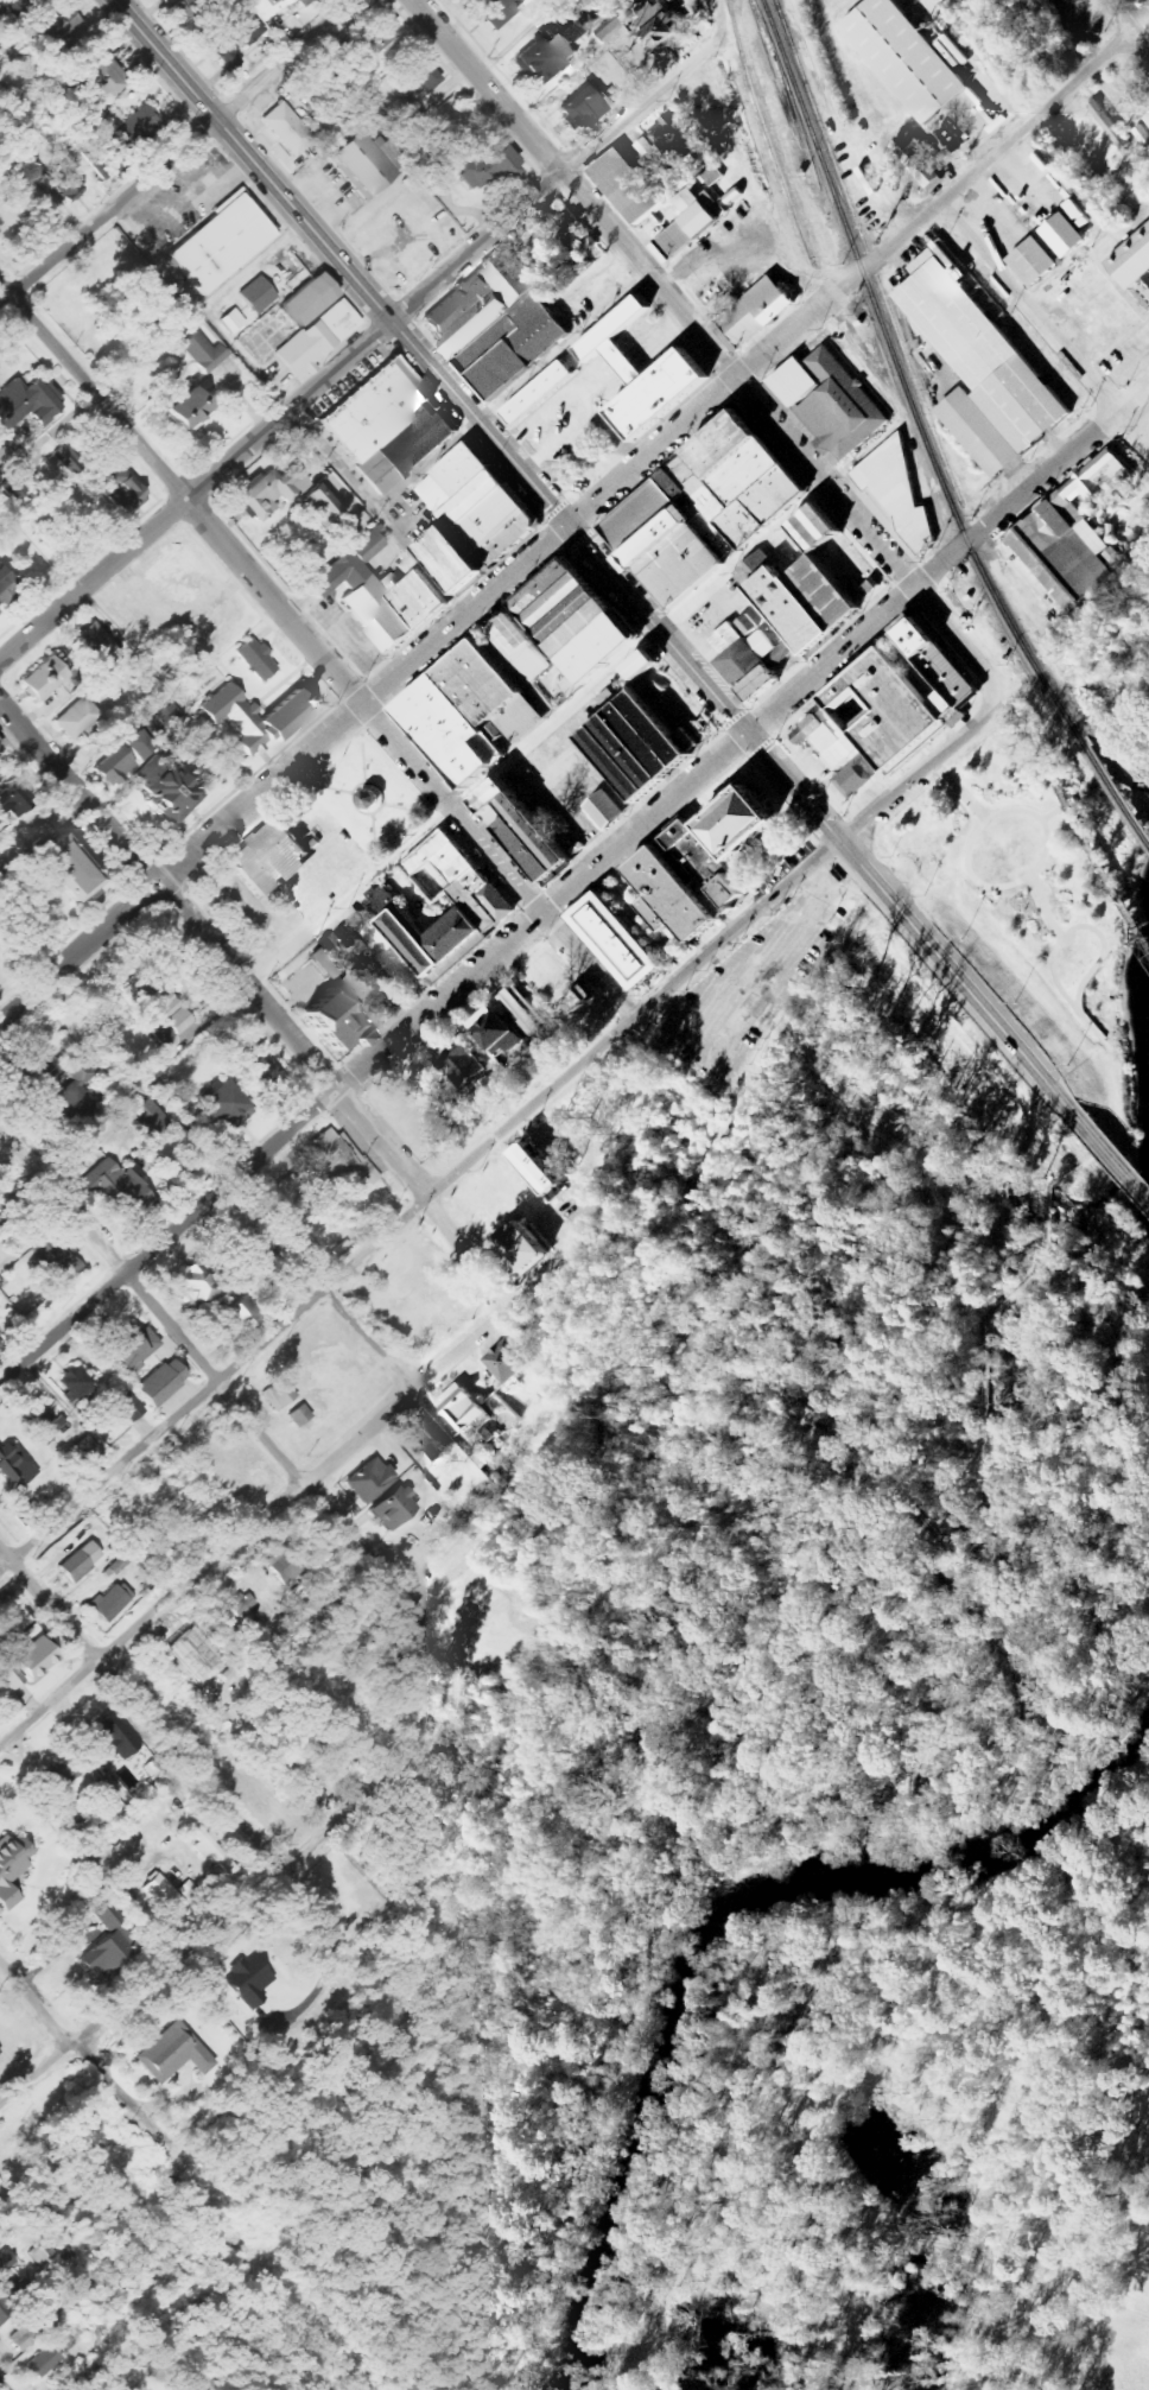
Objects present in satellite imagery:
building: (269, 7)
building: (6, 8)
building: (500, 11)
road: (719, 18)
road: (1128, 27)
building: (660, 28)
building: (56, 30)
building: (582, 33)
building: (372, 37)
building: (239, 39)
building: (546, 57)
building: (901, 57)
road: (286, 59)
building: (103, 78)
road: (488, 85)
building: (583, 109)
building: (1148, 119)
road: (221, 122)
building: (1107, 122)
building: (285, 129)
railway: (764, 133)
building: (1143, 134)
building: (674, 139)
building: (119, 145)
building: (919, 159)
building: (356, 161)
building: (483, 169)
building: (712, 175)
road: (556, 177)
building: (66, 186)
building: (622, 186)
road: (109, 214)
building: (688, 224)
building: (1066, 235)
building: (218, 241)
railway: (866, 252)
building: (1131, 256)
building: (1029, 261)
road: (850, 280)
building: (258, 294)
building: (310, 299)
road: (1096, 302)
road: (1028, 308)
parking lot: (1088, 308)
road: (199, 310)
building: (753, 310)
building: (336, 319)
building: (233, 321)
building: (493, 323)
building: (303, 349)
building: (204, 353)
road: (1104, 357)
parking lot: (1129, 357)
road: (1136, 361)
building: (977, 368)
building: (637, 374)
railway: (900, 379)
road: (737, 380)
road: (512, 391)
road: (93, 392)
building: (533, 393)
building: (26, 404)
building: (826, 404)
road: (1124, 407)
building: (189, 411)
building: (386, 426)
building: (64, 463)
building: (268, 489)
road: (537, 490)
building: (123, 493)
road: (195, 493)
building: (893, 496)
building: (315, 506)
building: (698, 509)
road: (379, 511)
building: (466, 519)
traffic signals: (567, 526)
building: (808, 527)
building: (1066, 538)
road: (922, 581)
building: (6, 585)
building: (817, 591)
building: (381, 595)
building: (779, 603)
building: (747, 626)
building: (558, 629)
building: (97, 640)
road: (959, 640)
building: (258, 659)
building: (744, 660)
building: (933, 663)
building: (635, 665)
building: (44, 679)
road: (173, 691)
road: (574, 699)
building: (940, 704)
road: (361, 705)
road: (364, 706)
building: (881, 708)
road: (1113, 714)
building: (464, 715)
building: (255, 717)
building: (78, 718)
building: (167, 721)
road: (551, 722)
building: (654, 730)
traffic signals: (748, 734)
building: (640, 742)
building: (139, 746)
building: (0, 748)
building: (626, 754)
railway: (1043, 762)
building: (116, 766)
building: (612, 766)
road: (919, 771)
parking lot: (550, 776)
building: (855, 780)
building: (170, 791)
railway: (1115, 791)
building: (14, 797)
park: (368, 798)
building: (485, 798)
building: (602, 810)
road: (1050, 814)
building: (491, 817)
building: (729, 823)
building: (529, 832)
road: (1047, 838)
park: (1045, 842)
building: (521, 850)
building: (272, 857)
building: (62, 866)
building: (699, 867)
railway: (1098, 868)
road: (863, 869)
building: (0, 879)
road: (165, 895)
building: (664, 895)
building: (494, 900)
building: (470, 904)
road: (1045, 906)
road: (542, 913)
building: (423, 931)
building: (611, 940)
road: (78, 955)
road: (588, 964)
road: (1091, 969)
road: (1053, 976)
parking lot: (755, 982)
building: (158, 1006)
building: (324, 1018)
road: (630, 1018)
building: (528, 1020)
building: (497, 1032)
road: (1023, 1058)
building: (462, 1065)
building: (227, 1105)
road: (1117, 1112)
building: (150, 1118)
road: (1107, 1156)
building: (330, 1160)
building: (539, 1168)
building: (114, 1185)
building: (283, 1191)
road: (424, 1194)
road: (63, 1205)
road: (675, 1228)
road: (167, 1237)
building: (523, 1249)
building: (56, 1260)
road: (322, 1286)
building: (199, 1287)
building: (243, 1314)
building: (0, 1343)
building: (132, 1349)
building: (508, 1362)
road: (616, 1365)
building: (163, 1382)
building: (76, 1383)
road: (215, 1386)
building: (279, 1394)
building: (127, 1405)
building: (299, 1415)
building: (42, 1419)
park: (876, 1419)
building: (487, 1435)
building: (426, 1444)
building: (89, 1448)
building: (15, 1465)
road: (294, 1475)
road: (980, 1477)
building: (369, 1481)
road: (278, 1507)
building: (393, 1508)
building: (81, 1560)
building: (284, 1566)
building: (112, 1602)
building: (27, 1663)
road: (1004, 1697)
road: (142, 1706)
building: (115, 1739)
building: (58, 1775)
road: (900, 1783)
building: (212, 1850)
building: (12, 1869)
building: (189, 1890)
building: (164, 1895)
road: (241, 1907)
river: (717, 1927)
building: (249, 1980)
building: (0, 2053)
road: (81, 2054)
building: (172, 2054)
building: (12, 2276)
building: (2, 2307)
building: (31, 2333)
building: (44, 2362)
road: (2, 2385)

